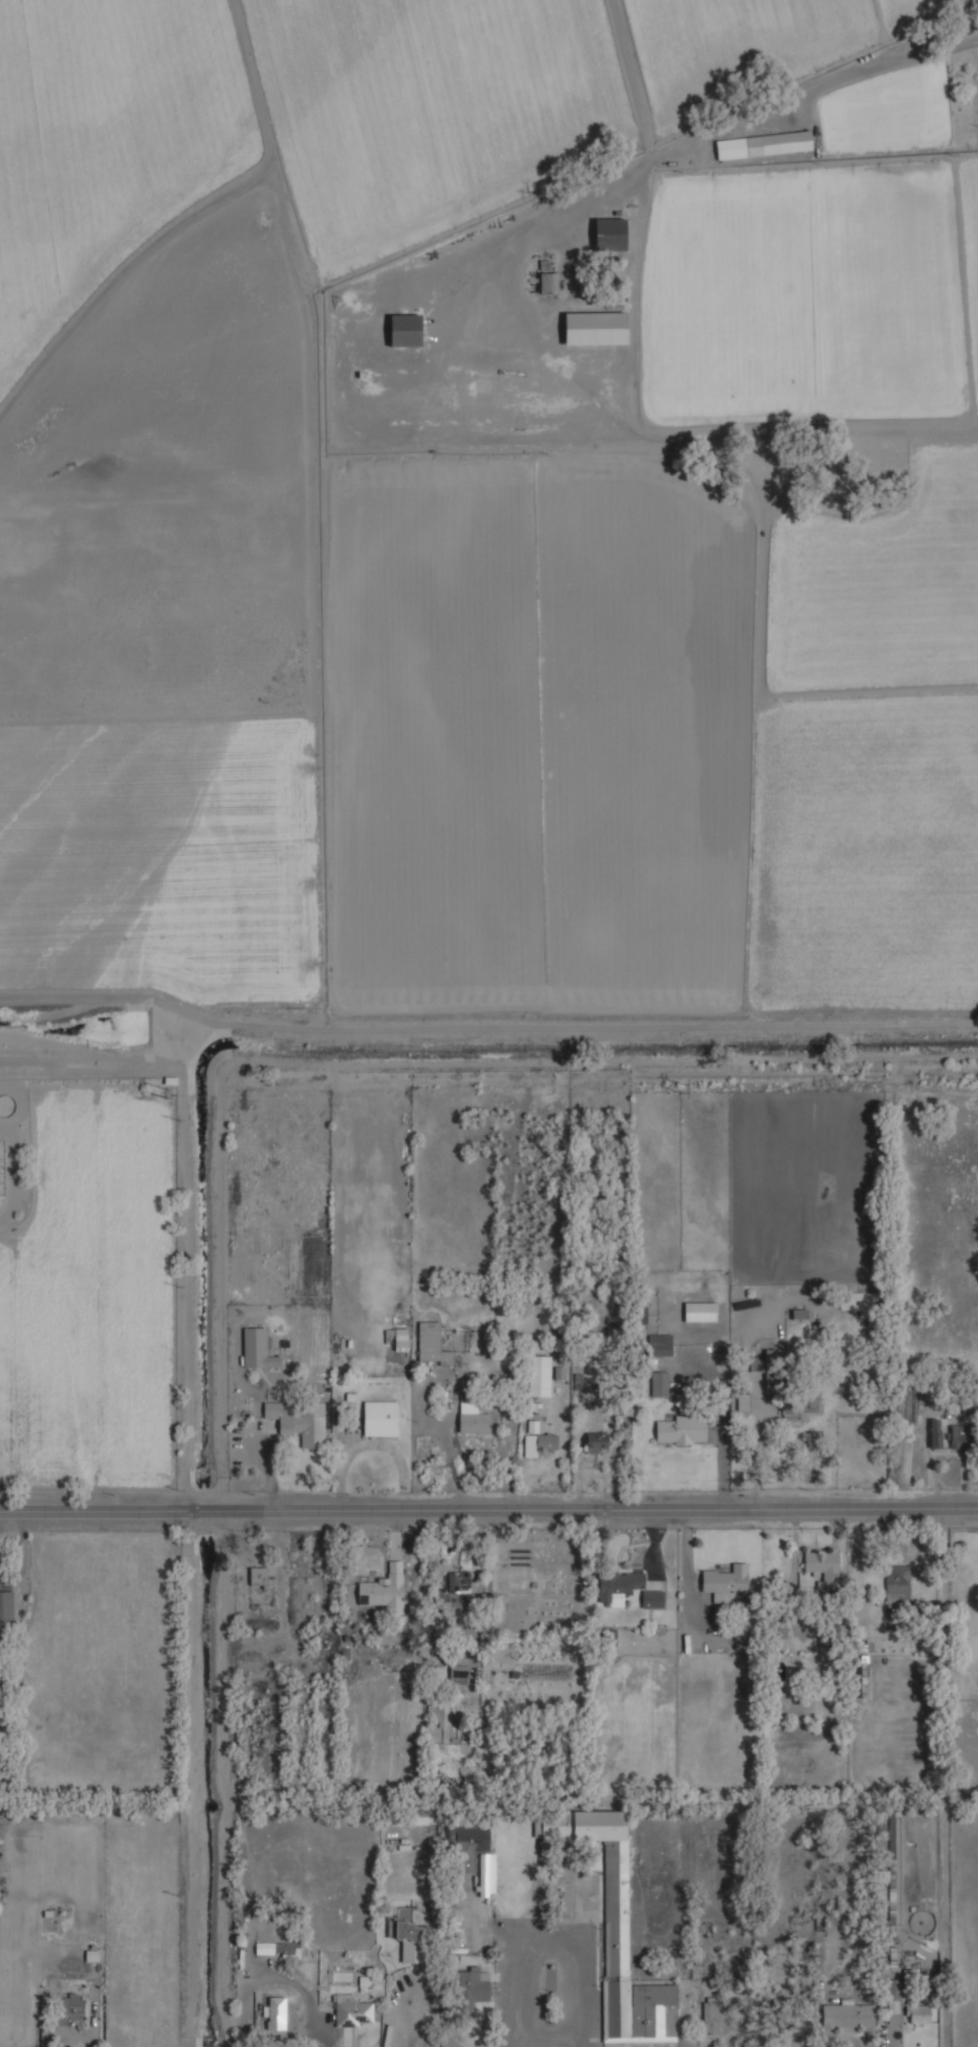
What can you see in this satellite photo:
crop: (740, 41)
road: (635, 77)
road: (764, 105)
crop: (433, 110)
building: (763, 144)
crop: (106, 147)
building: (609, 233)
building: (547, 282)
crop: (816, 294)
building: (594, 327)
building: (404, 329)
crop: (660, 733)
crop: (157, 858)
road: (100, 997)
road: (335, 1027)
road: (189, 1041)
road: (187, 1286)
building: (859, 1303)
building: (699, 1311)
building: (431, 1343)
building: (659, 1345)
building: (257, 1349)
building: (539, 1375)
building: (659, 1384)
building: (743, 1402)
building: (798, 1406)
building: (379, 1418)
building: (472, 1419)
building: (299, 1421)
building: (532, 1424)
building: (682, 1429)
building: (935, 1433)
building: (961, 1437)
building: (596, 1441)
building: (538, 1443)
road: (488, 1503)
building: (822, 1566)
building: (258, 1576)
building: (726, 1582)
building: (896, 1583)
building: (382, 1587)
building: (625, 1587)
building: (455, 1588)
building: (7, 1603)
building: (777, 1628)
building: (458, 1674)
building: (434, 1711)
road: (191, 1777)
building: (423, 1817)
building: (474, 1855)
building: (615, 1928)
building: (406, 1935)
road: (548, 1943)
building: (276, 1948)
building: (473, 1986)
building: (70, 2006)
building: (891, 2007)
building: (350, 2010)
building: (274, 2012)
building: (917, 2013)
building: (784, 2014)
building: (846, 2014)
building: (710, 2015)

